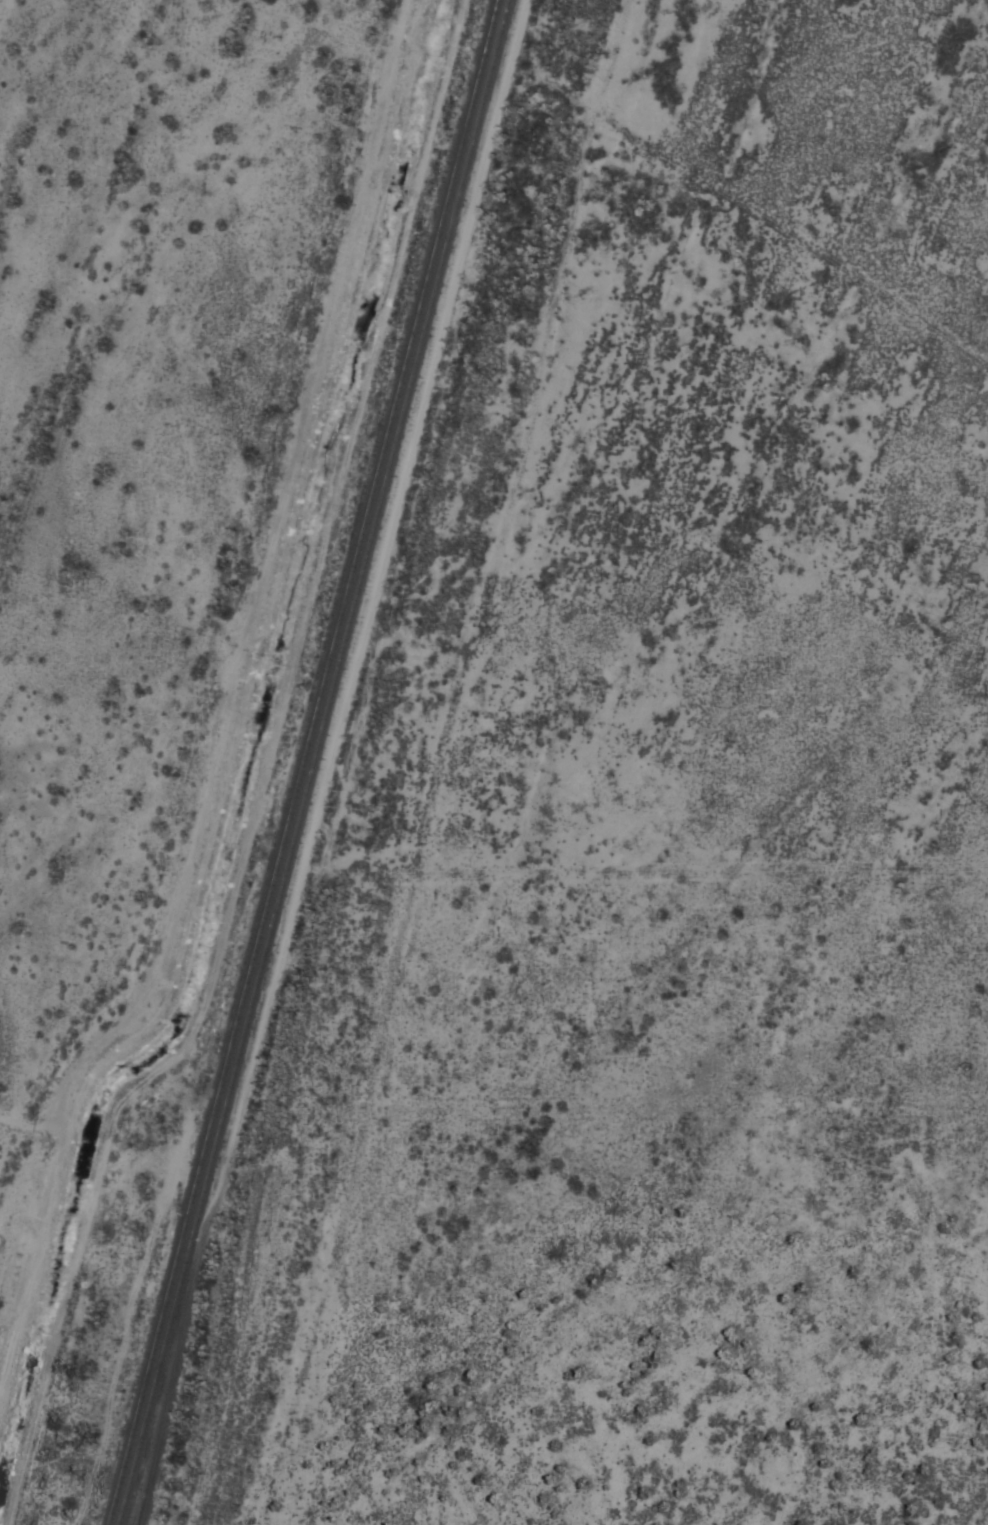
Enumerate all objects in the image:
road: (812, 304)
road: (229, 713)
road: (482, 758)
road: (383, 761)
railway: (304, 762)
railway: (314, 762)
road: (31, 1125)

